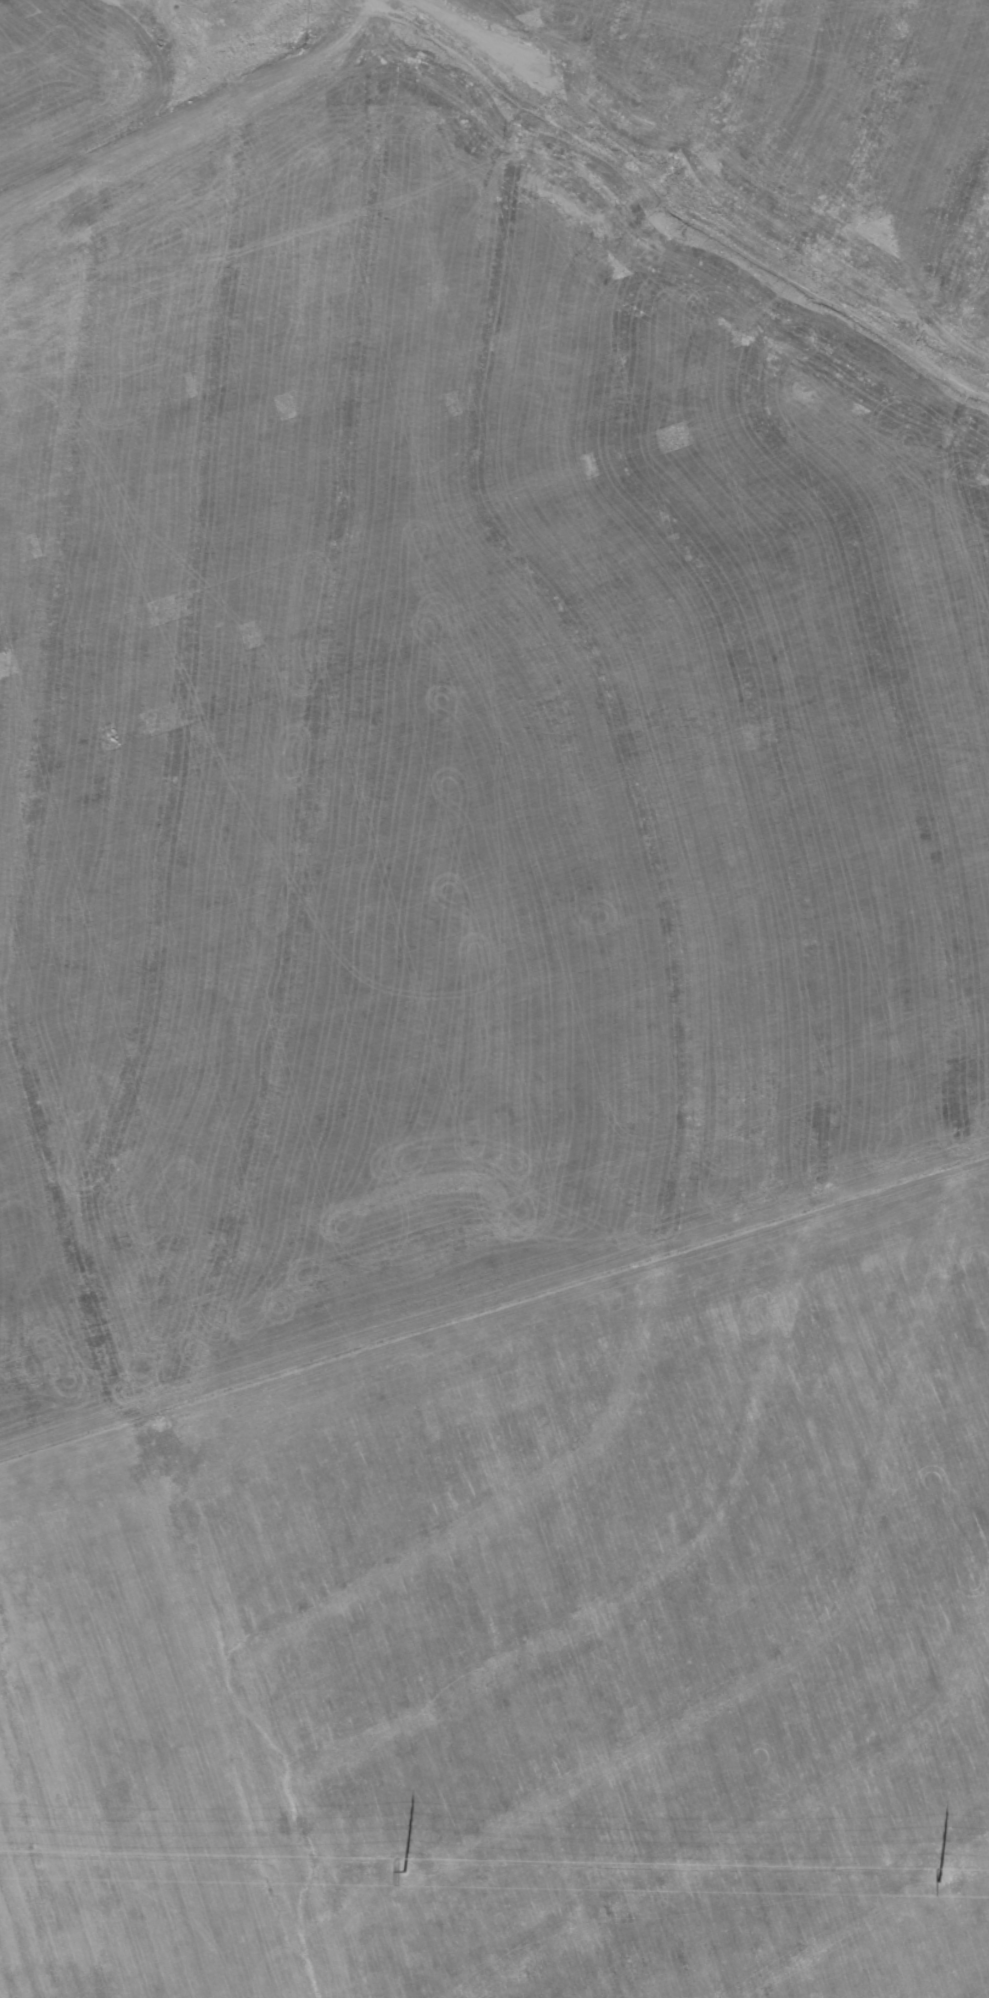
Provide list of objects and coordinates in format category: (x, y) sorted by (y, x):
power tower: (404, 1870)
power tower: (939, 1880)

